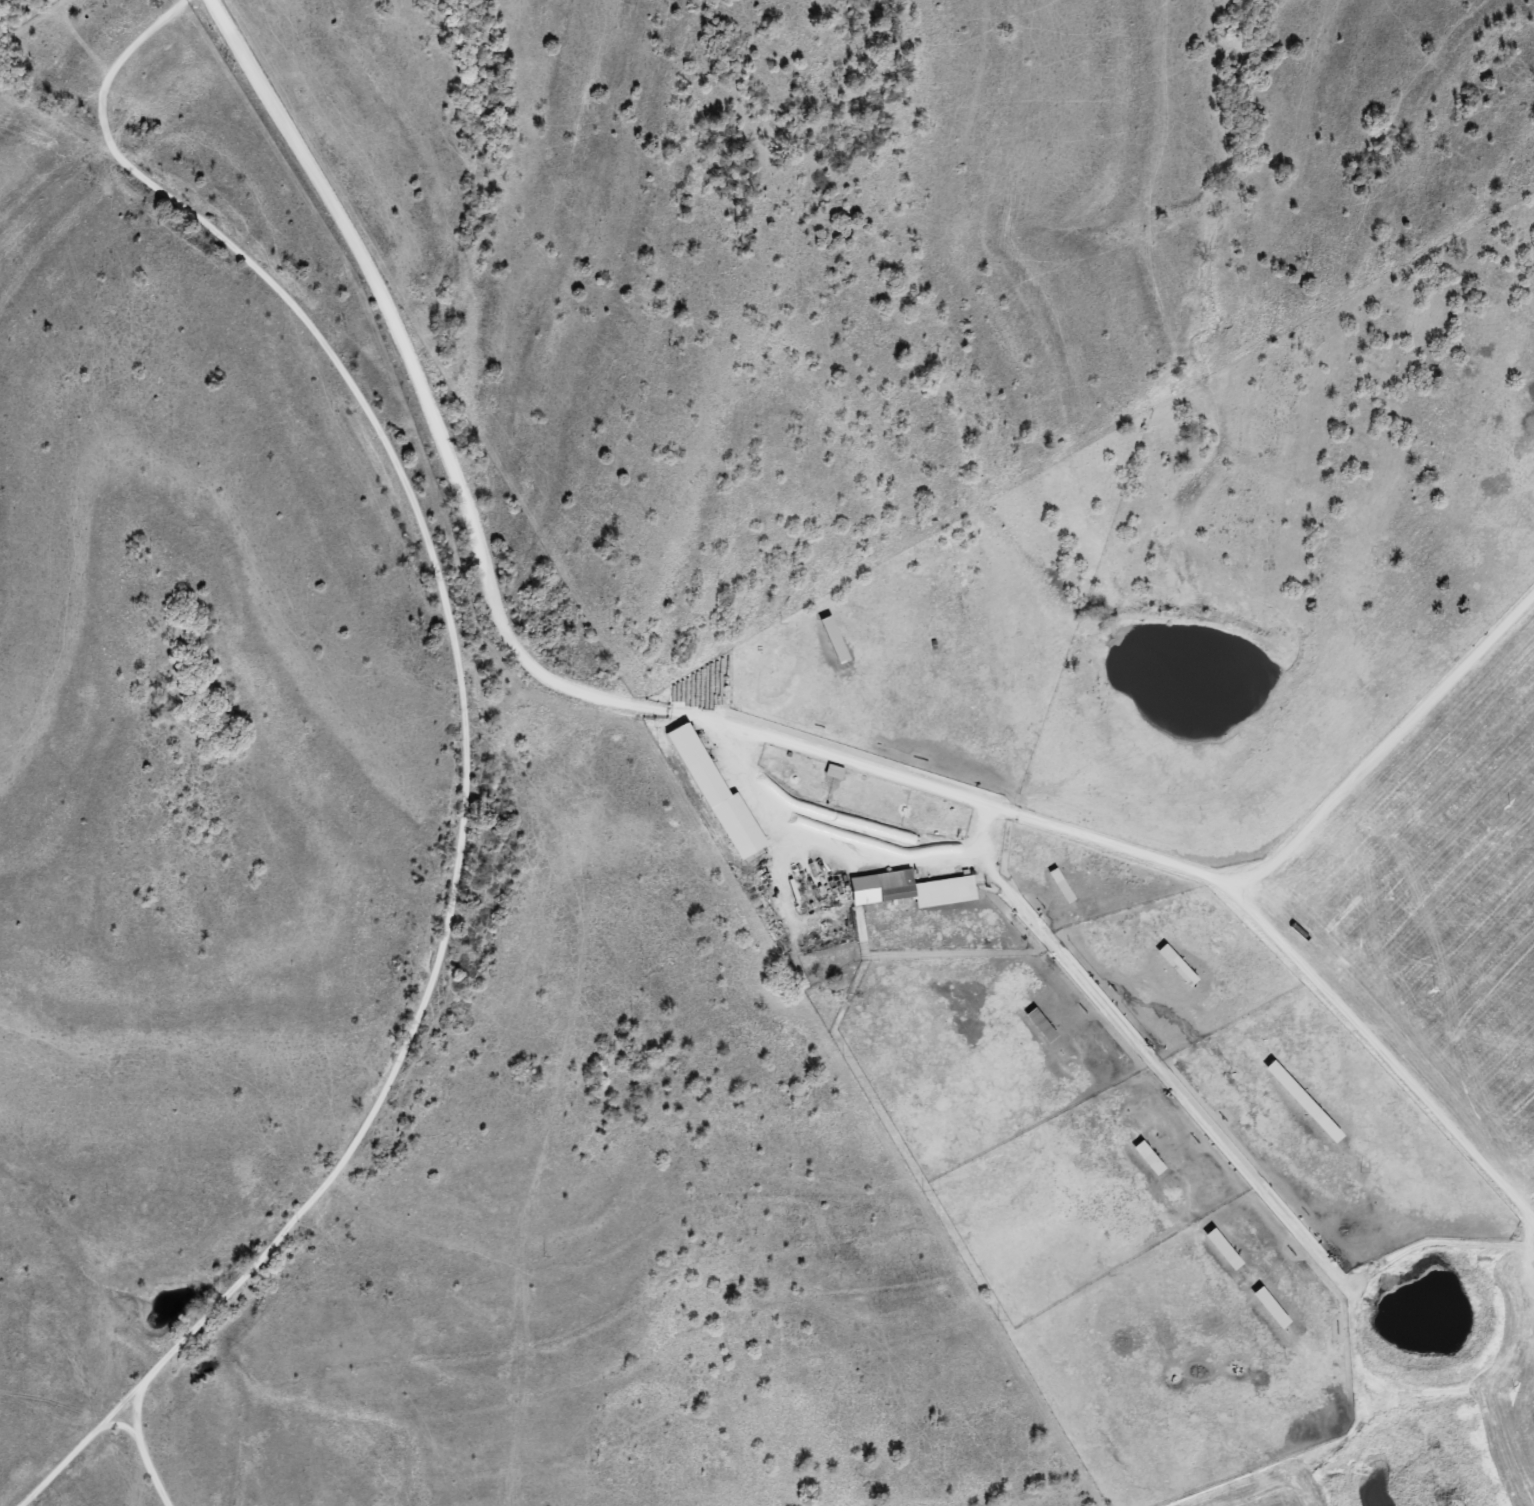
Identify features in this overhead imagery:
building: (834, 639)
road: (742, 731)
road: (1390, 746)
railway: (458, 774)
building: (718, 796)
building: (1057, 878)
road: (558, 1101)
building: (1302, 1101)
building: (1223, 1250)
building: (1284, 1326)

